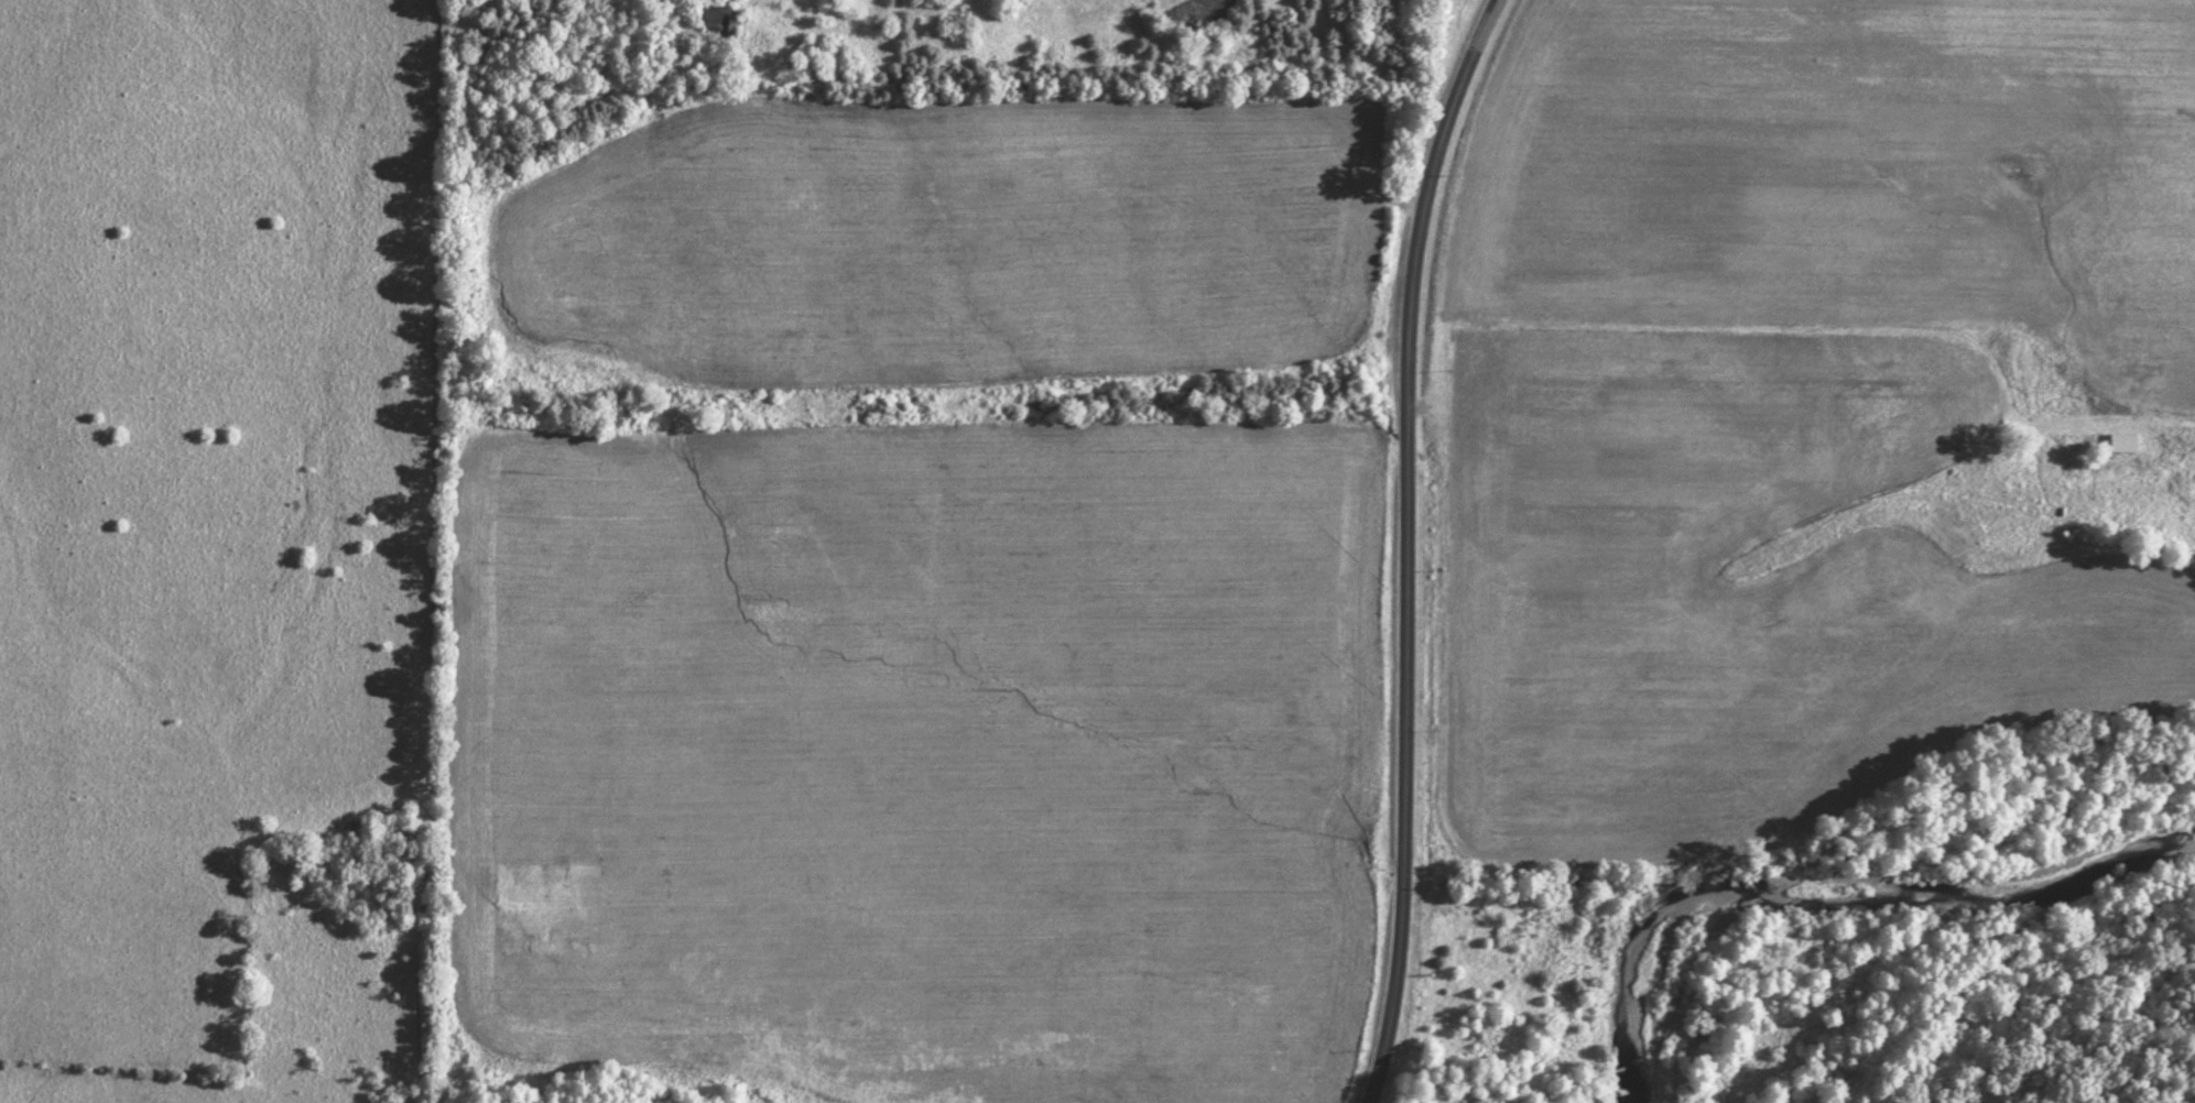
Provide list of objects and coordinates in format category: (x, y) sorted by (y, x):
building: (711, 28)
building: (2119, 444)
road: (1409, 545)

